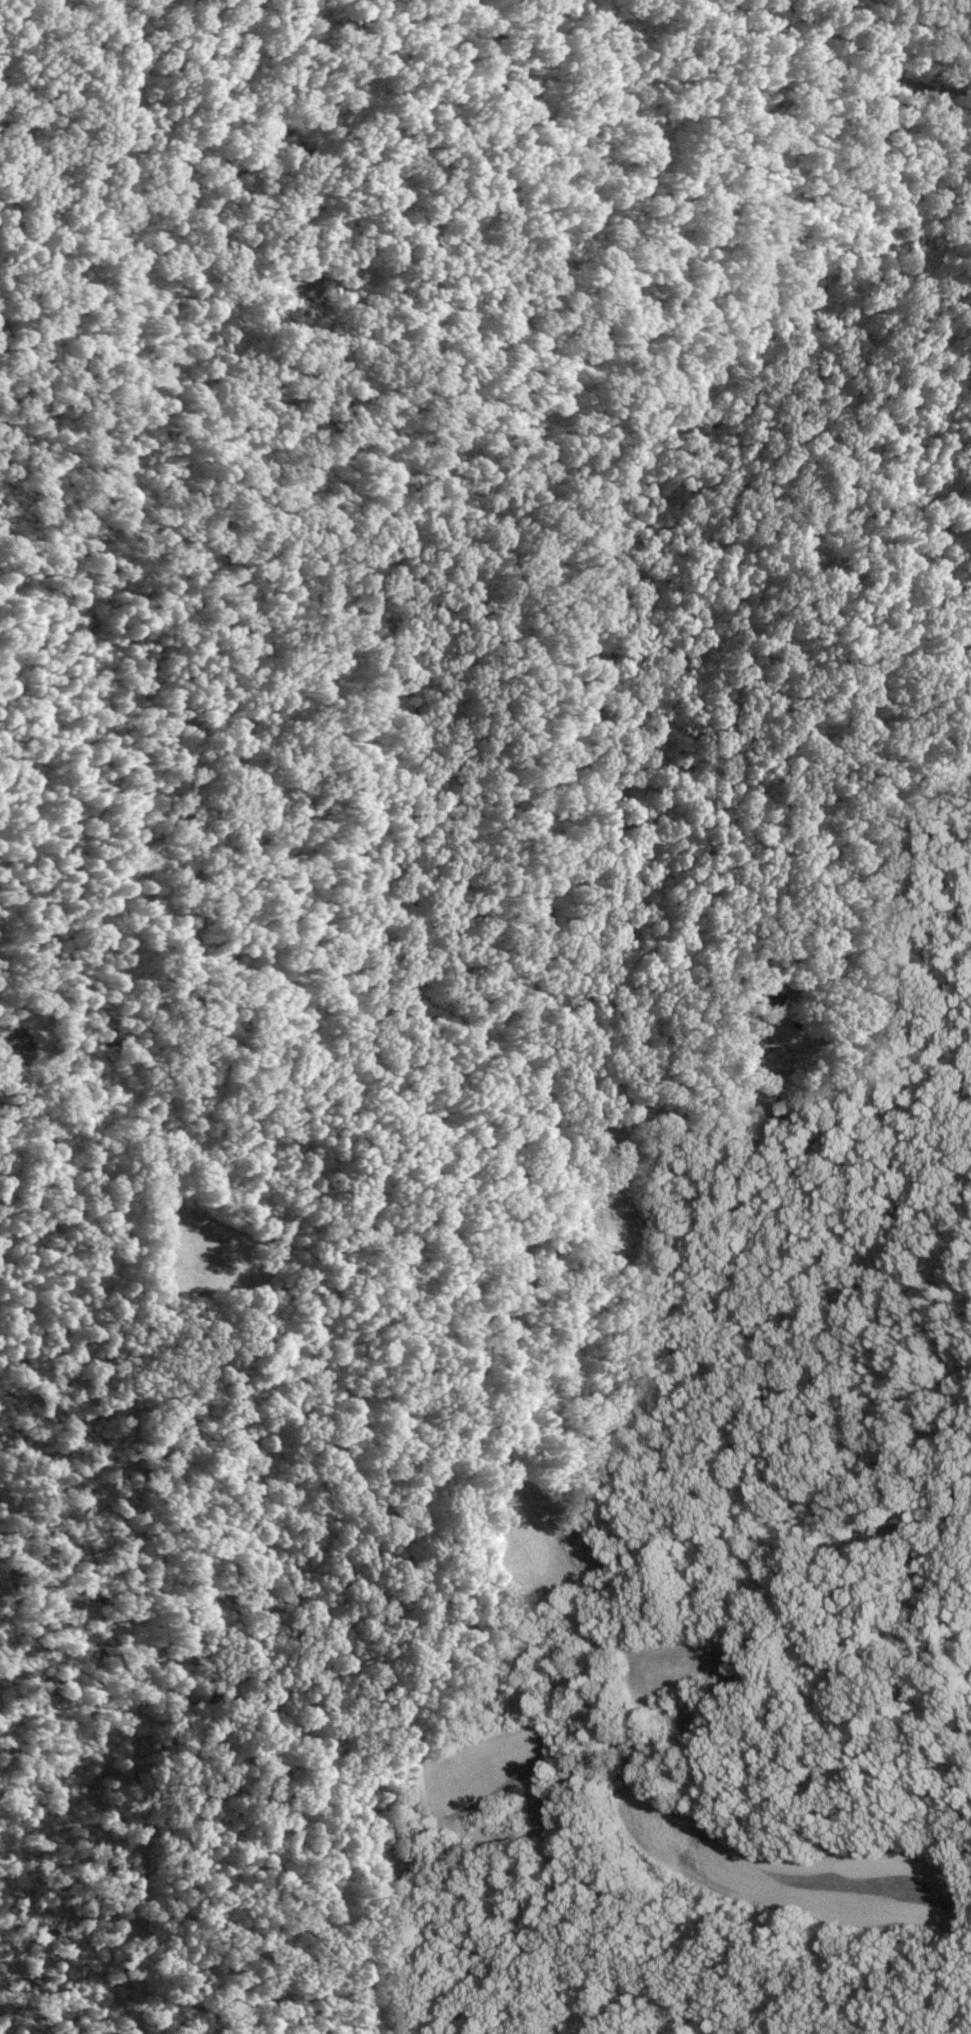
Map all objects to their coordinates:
road: (870, 43)

